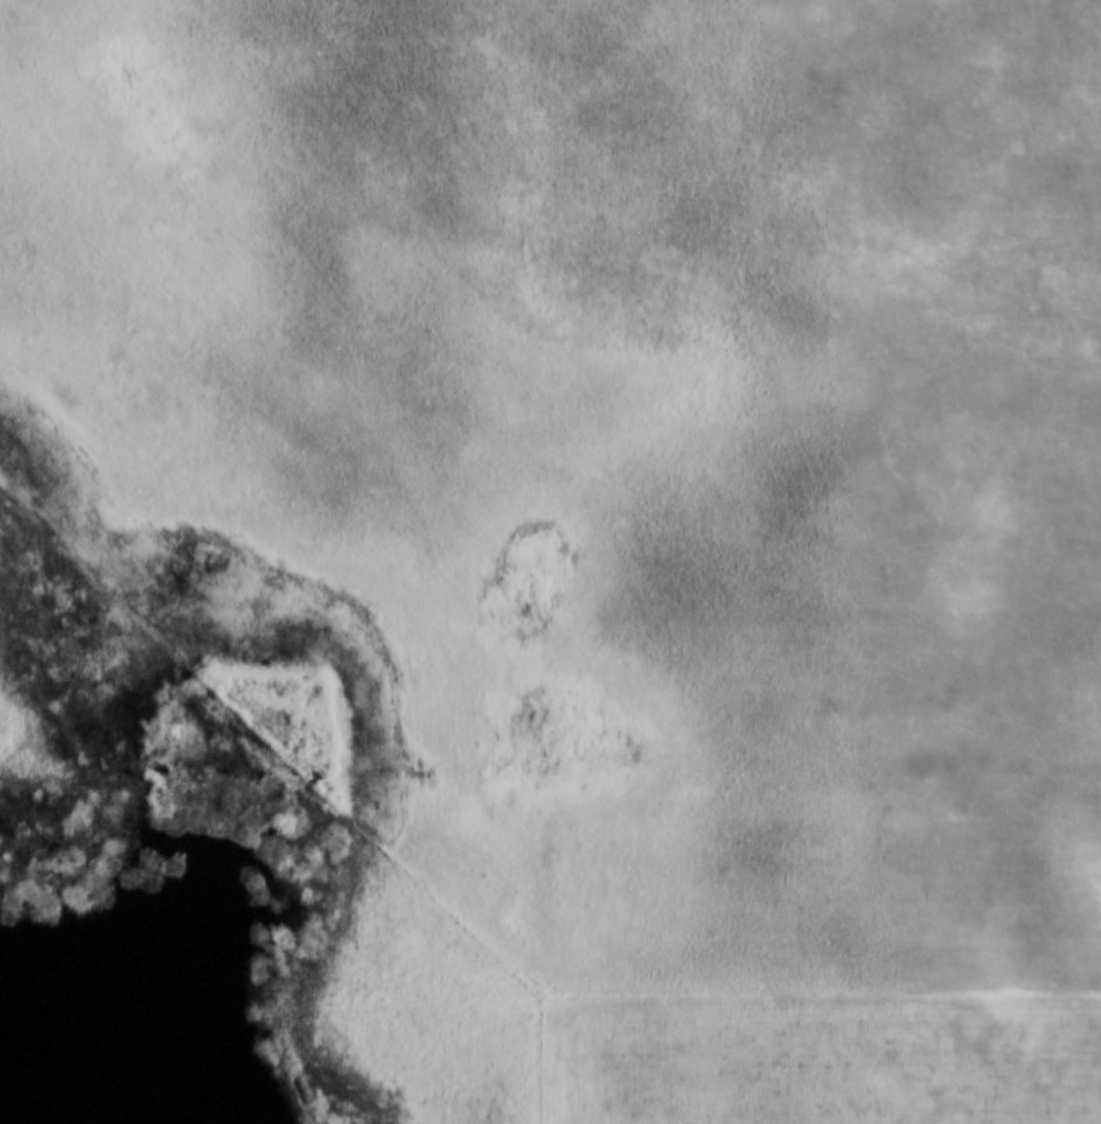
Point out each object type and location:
road: (547, 1073)

